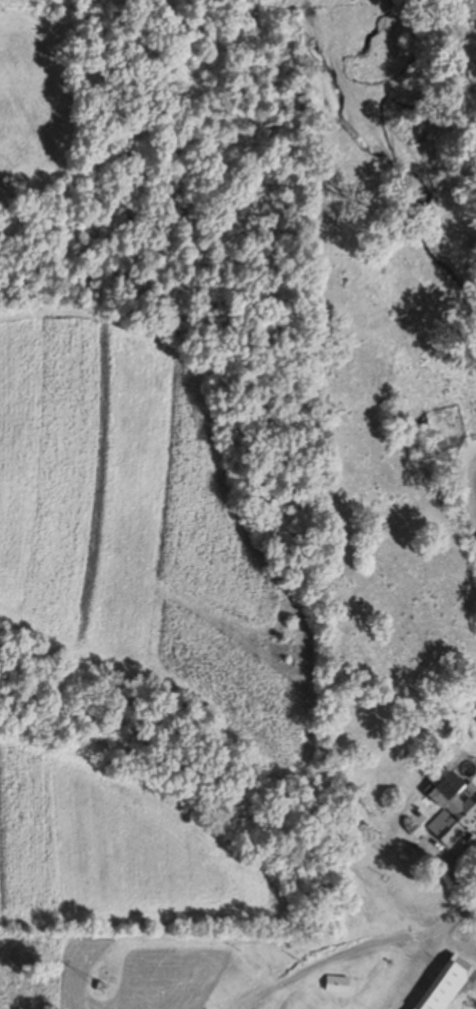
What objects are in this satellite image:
building: (449, 808)
building: (335, 982)
building: (445, 983)

